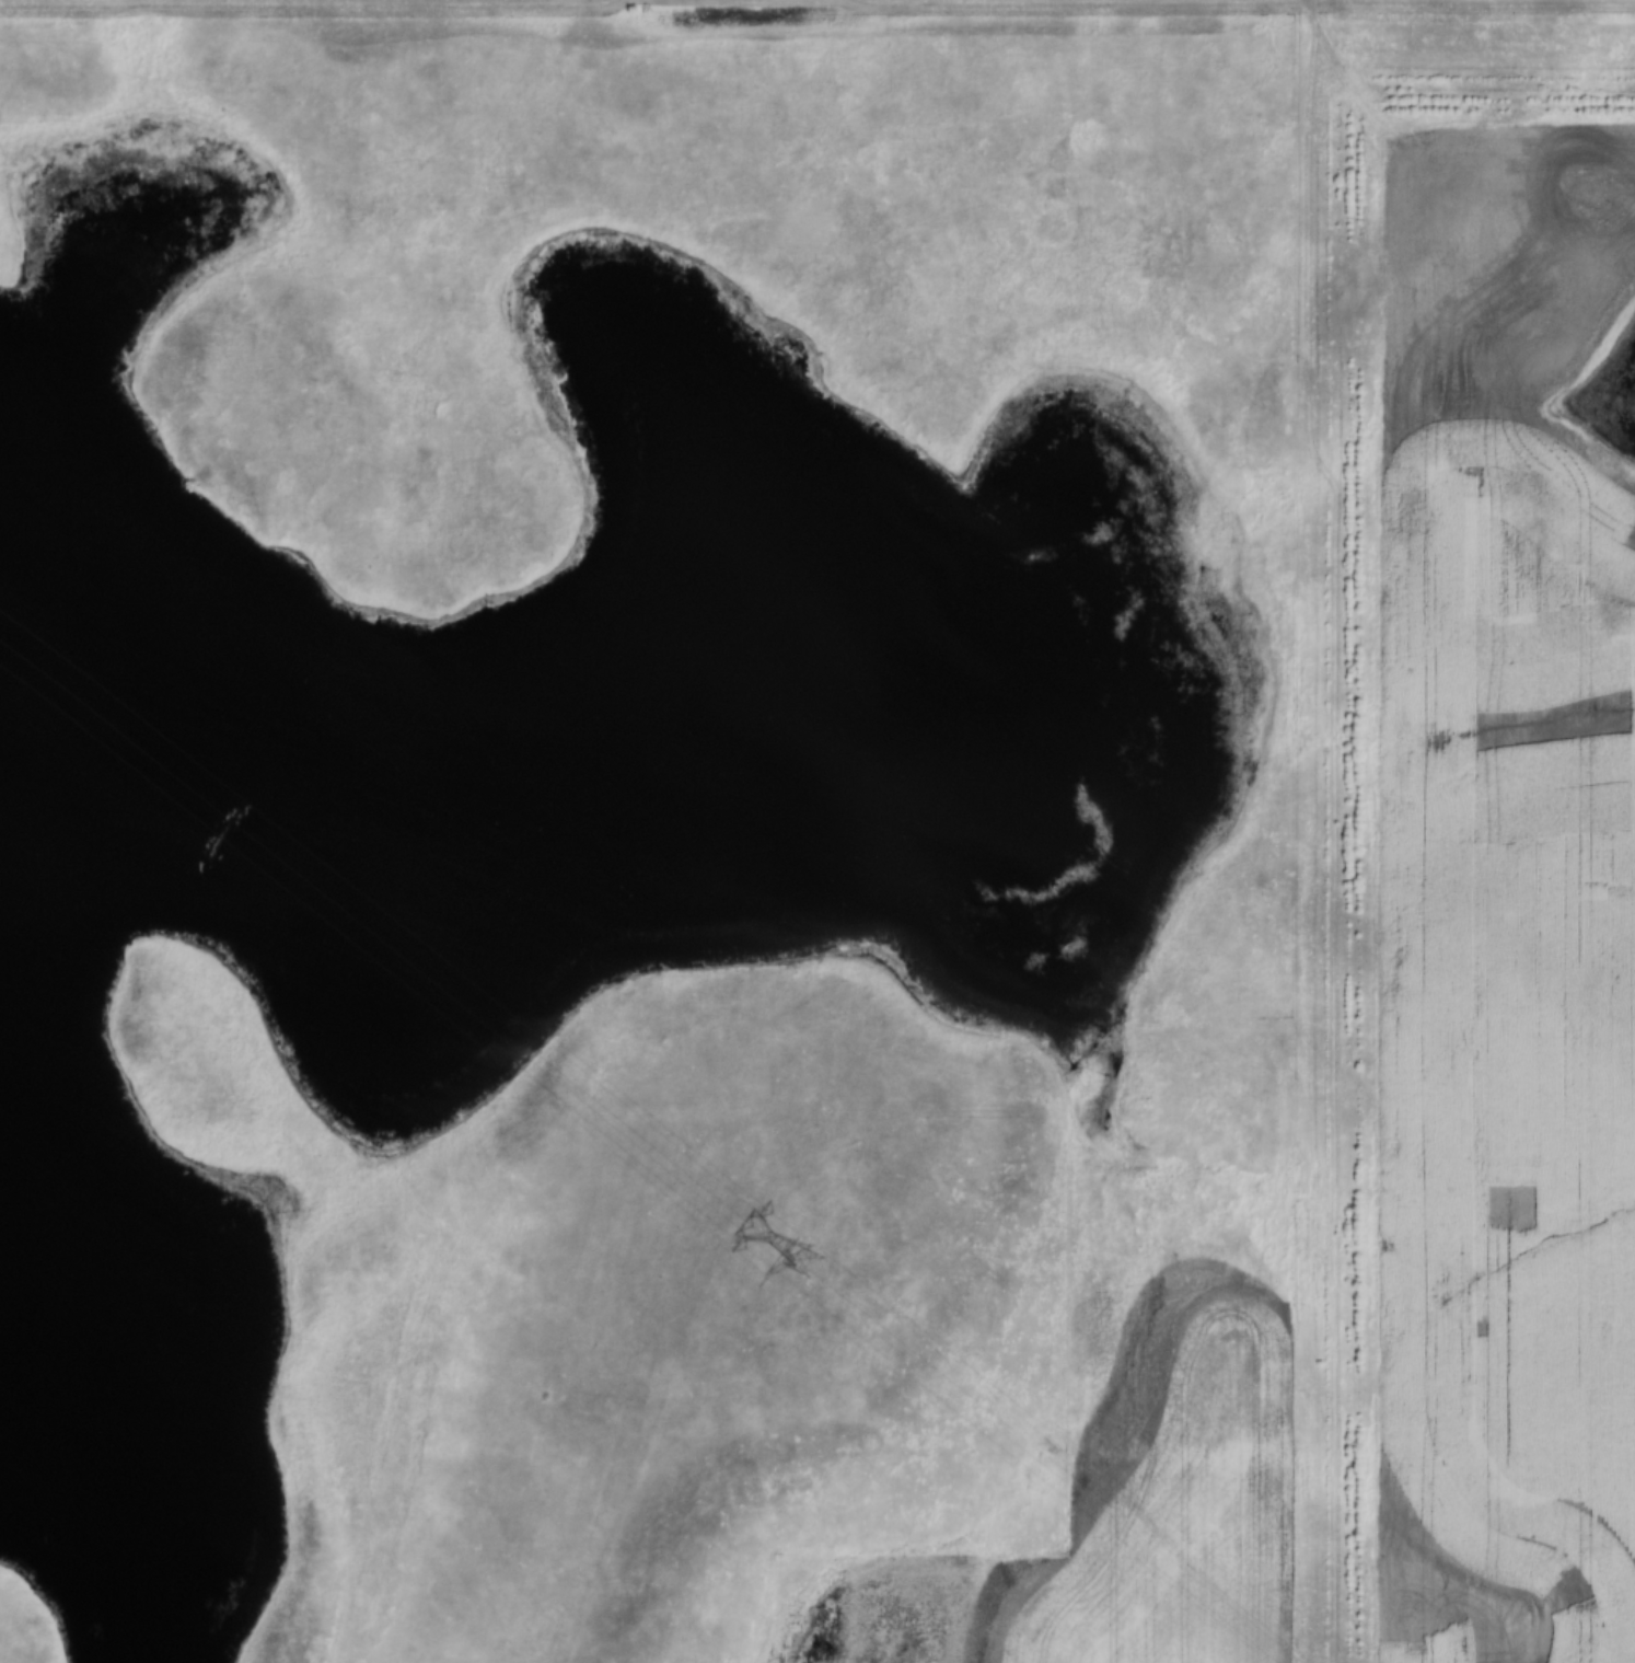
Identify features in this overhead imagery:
power tower: (814, 1262)

